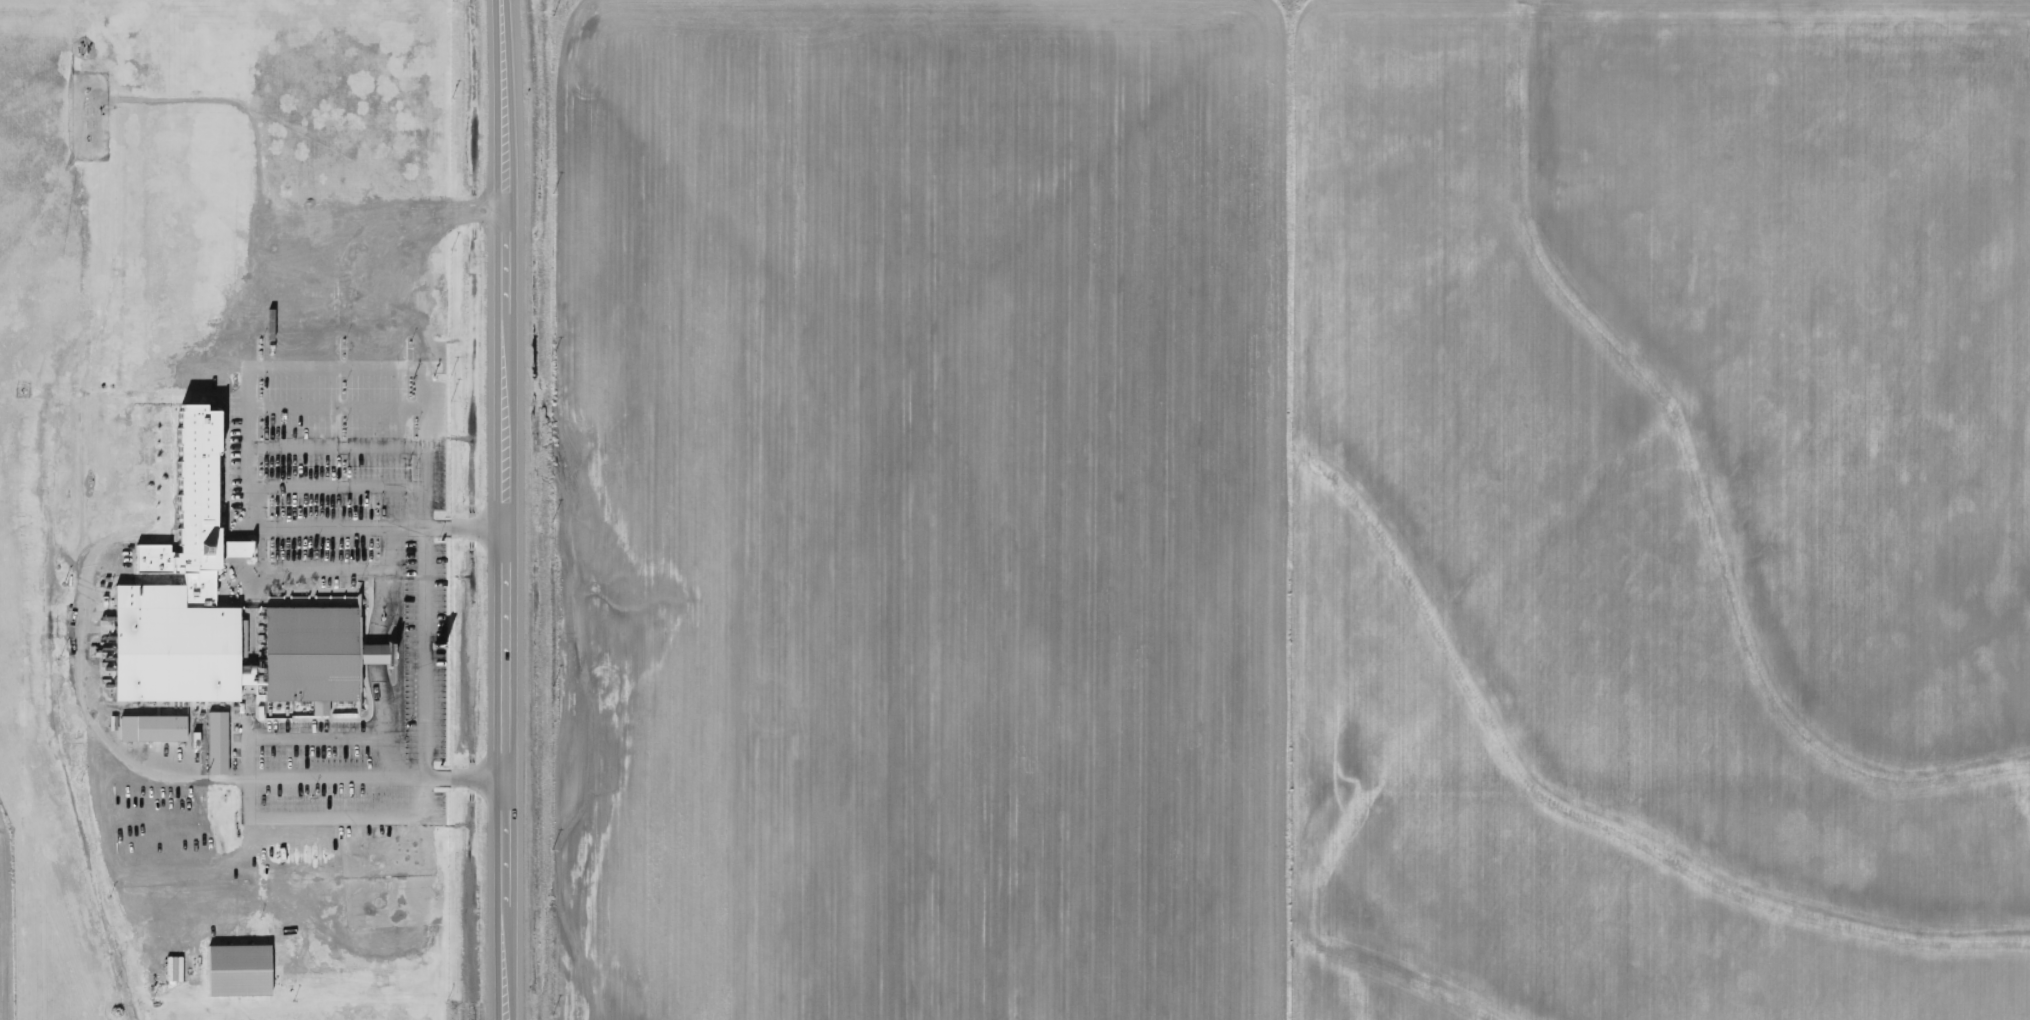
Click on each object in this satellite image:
building: (81, 50)
road: (497, 102)
road: (422, 221)
road: (498, 256)
road: (334, 361)
road: (335, 401)
road: (499, 416)
road: (335, 443)
road: (336, 482)
road: (379, 523)
building: (182, 586)
parking lot: (425, 646)
road: (377, 647)
road: (500, 647)
building: (316, 649)
building: (156, 724)
building: (221, 735)
road: (424, 750)
road: (250, 797)
road: (337, 812)
road: (501, 835)
building: (401, 853)
road: (501, 960)
building: (244, 966)

